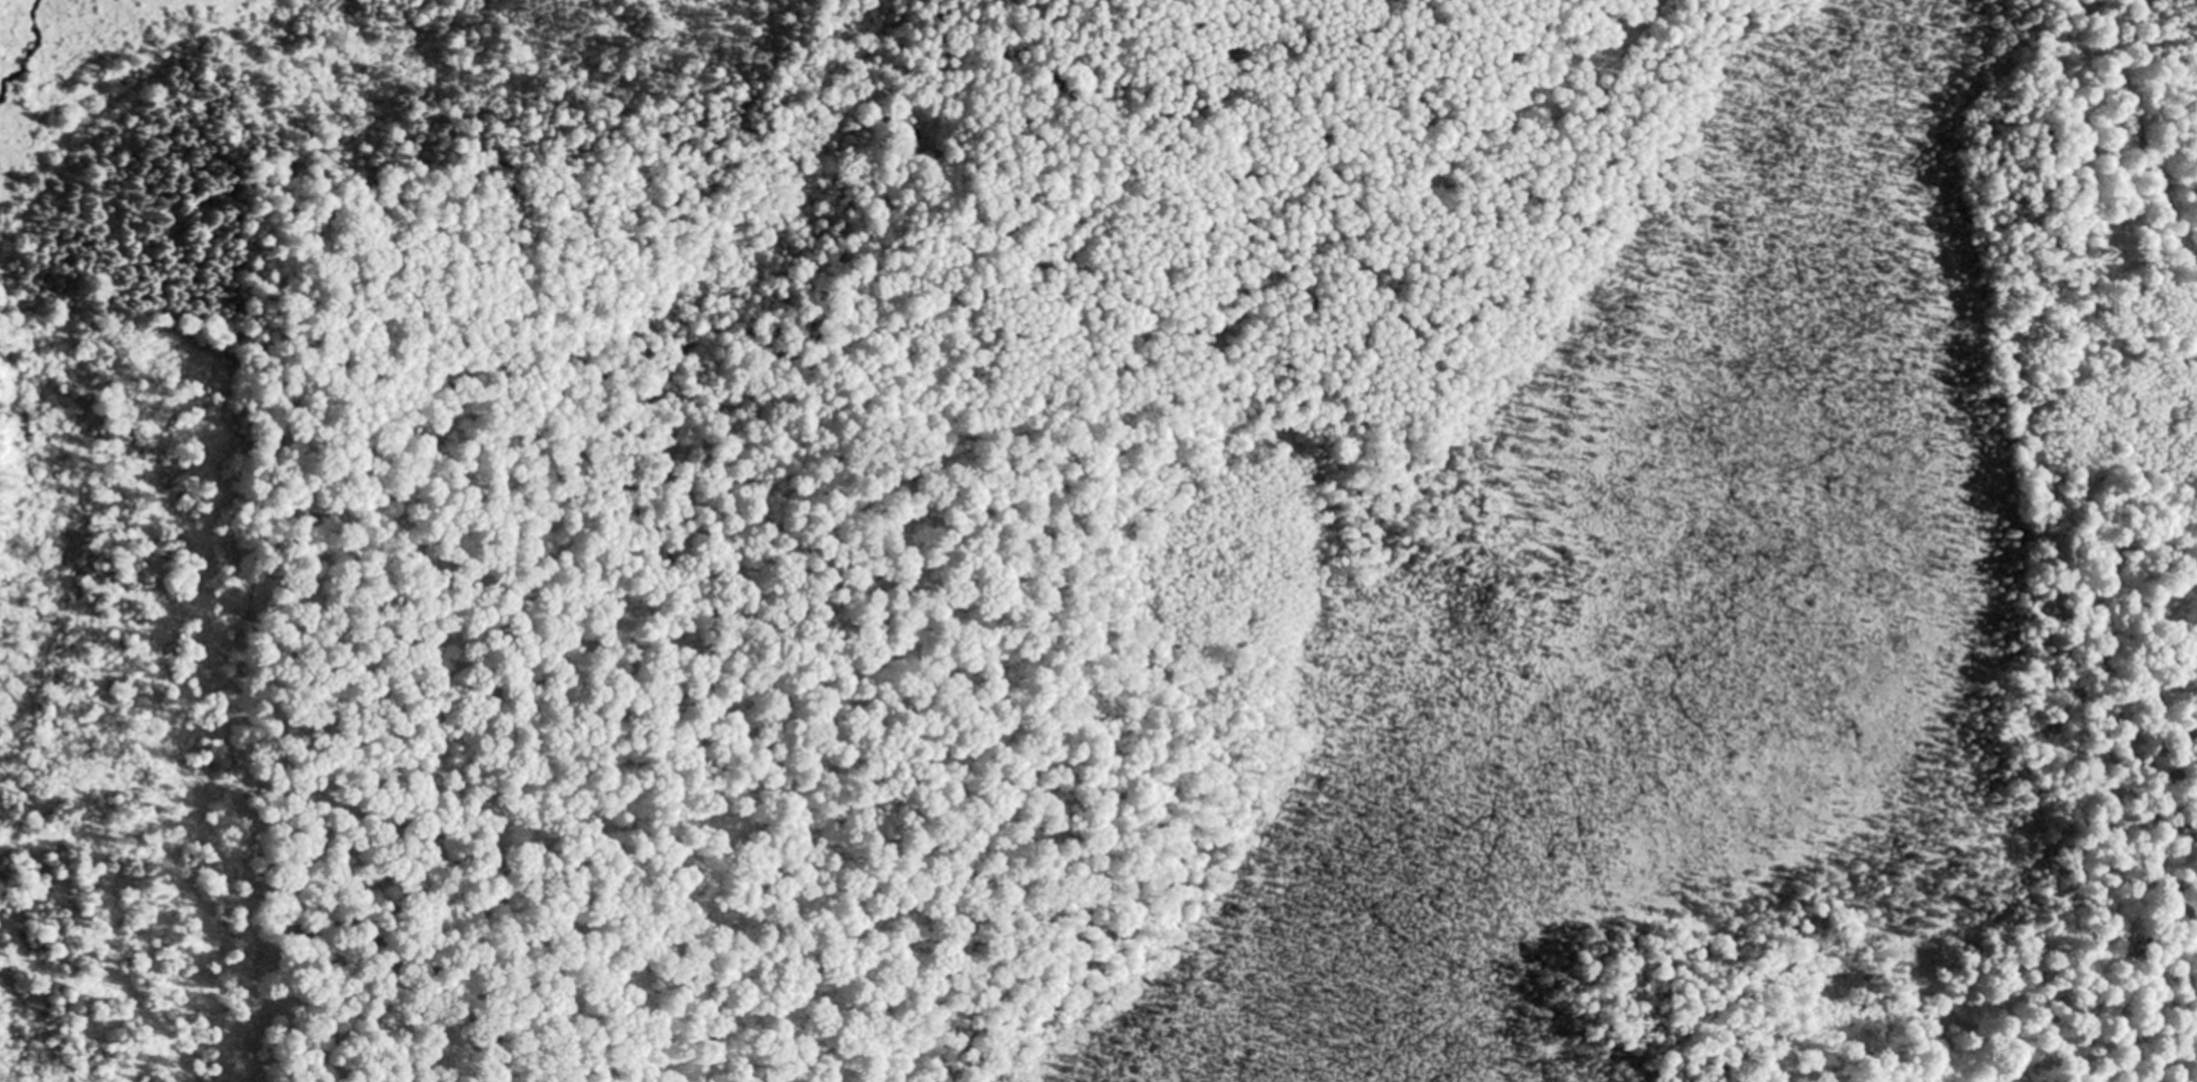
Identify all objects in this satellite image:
road: (2119, 128)

